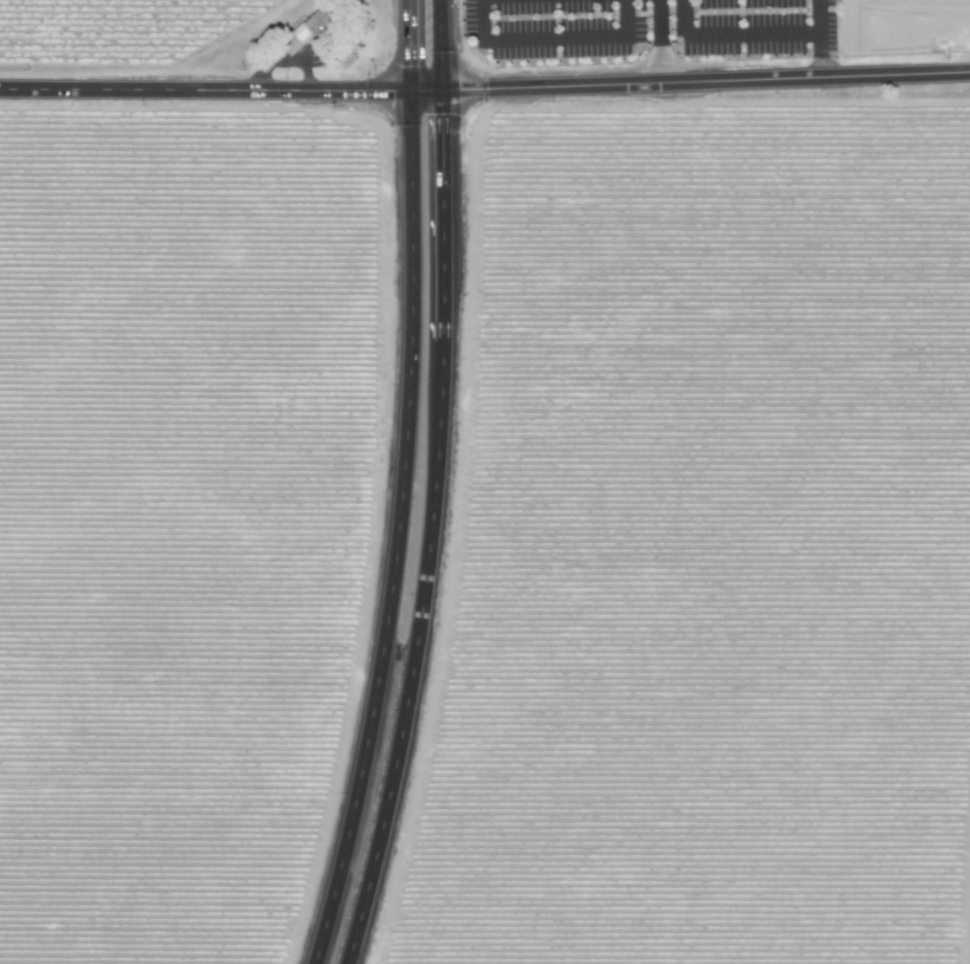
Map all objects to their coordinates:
building: (310, 24)
road: (735, 34)
road: (550, 39)
road: (819, 39)
road: (662, 41)
road: (413, 45)
road: (444, 46)
road: (707, 82)
road: (206, 91)
road: (429, 92)
road: (400, 532)
road: (434, 532)

